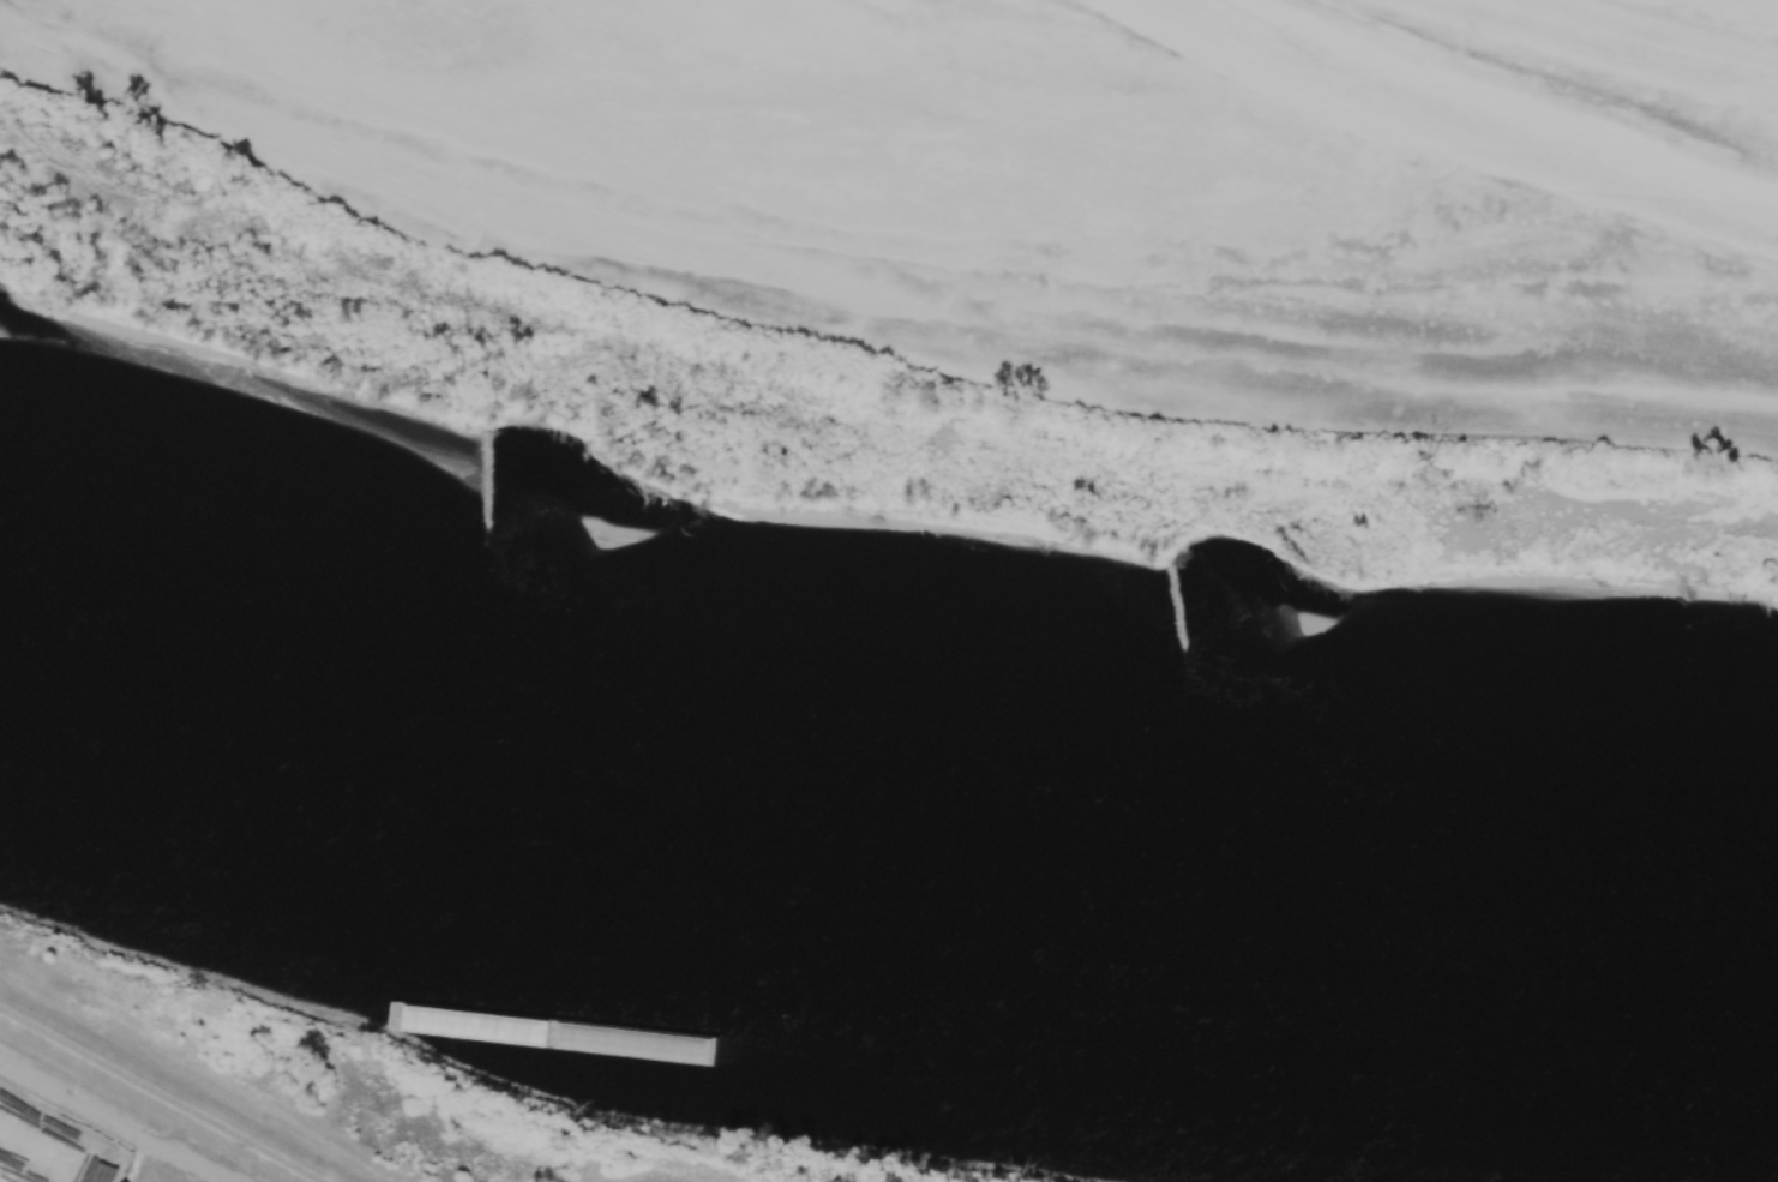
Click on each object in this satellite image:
river: (873, 844)
road: (161, 1094)

